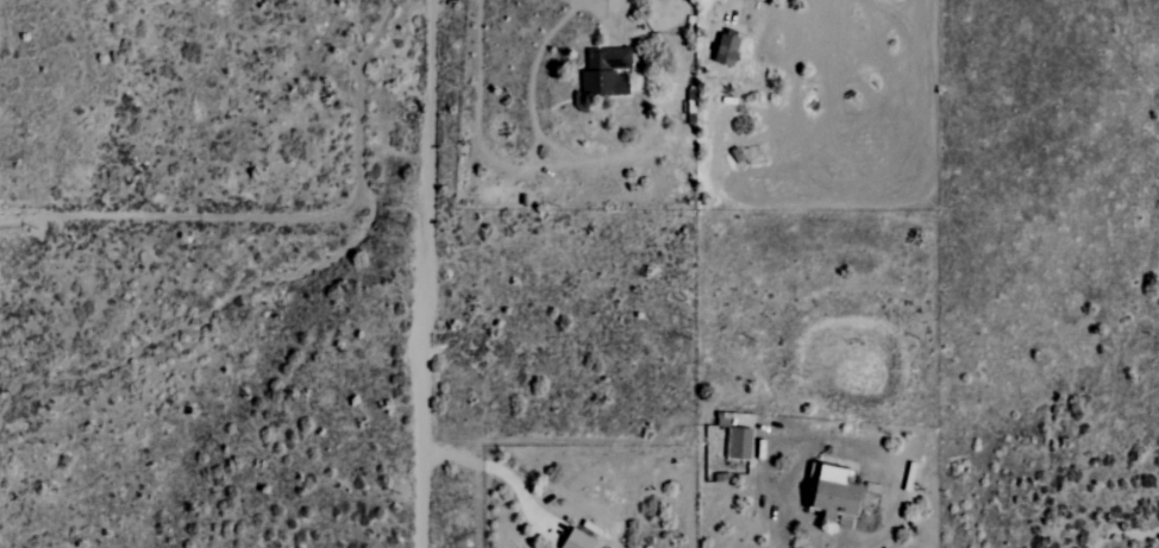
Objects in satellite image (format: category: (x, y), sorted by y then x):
building: (727, 49)
building: (606, 70)
road: (520, 164)
road: (287, 216)
road: (430, 273)
building: (740, 443)
building: (837, 493)
building: (577, 540)

